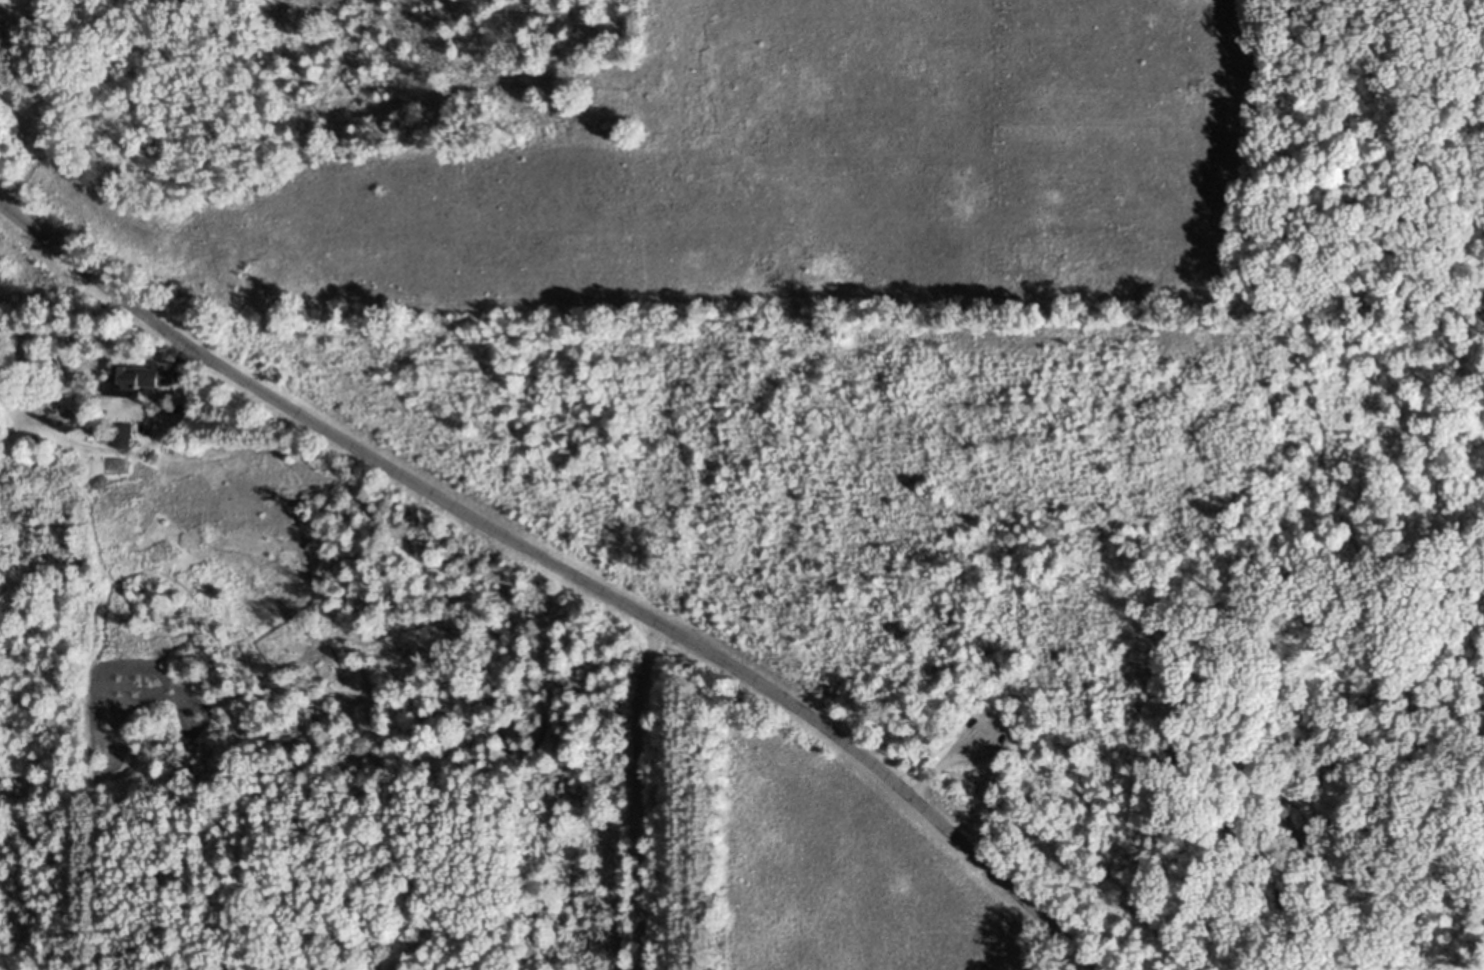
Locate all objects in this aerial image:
building: (617, 108)
crop: (783, 169)
building: (138, 383)
road: (1319, 446)
road: (451, 504)
parking lot: (969, 748)
road: (957, 755)
road: (640, 796)
road: (1105, 856)
crop: (839, 874)
road: (1004, 882)

